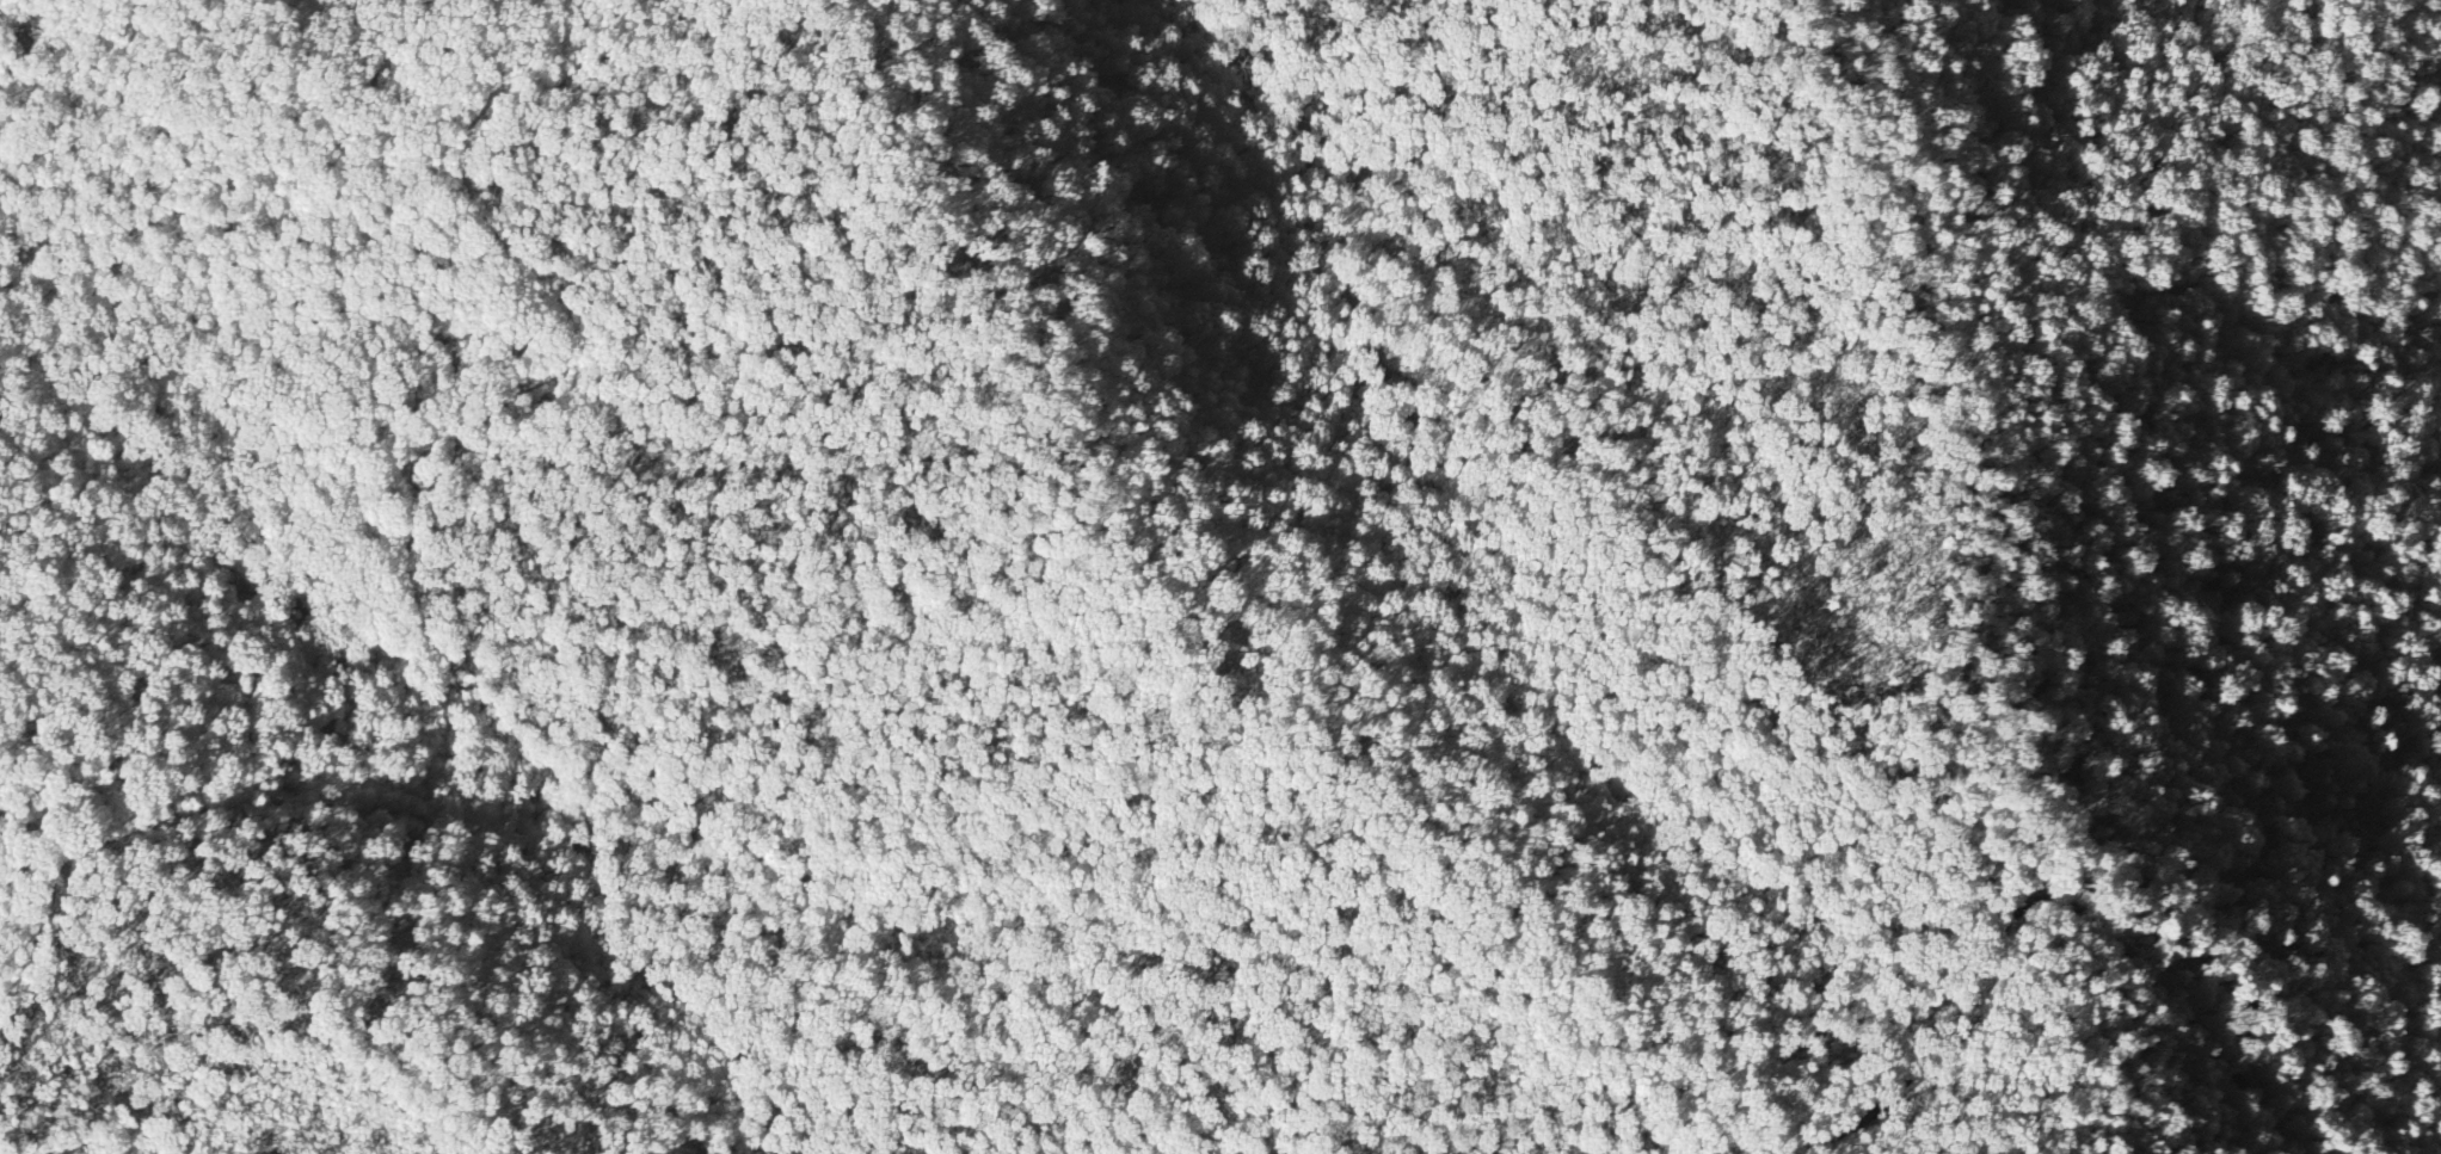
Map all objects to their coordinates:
road: (443, 655)
road: (2024, 902)
road: (97, 1140)

